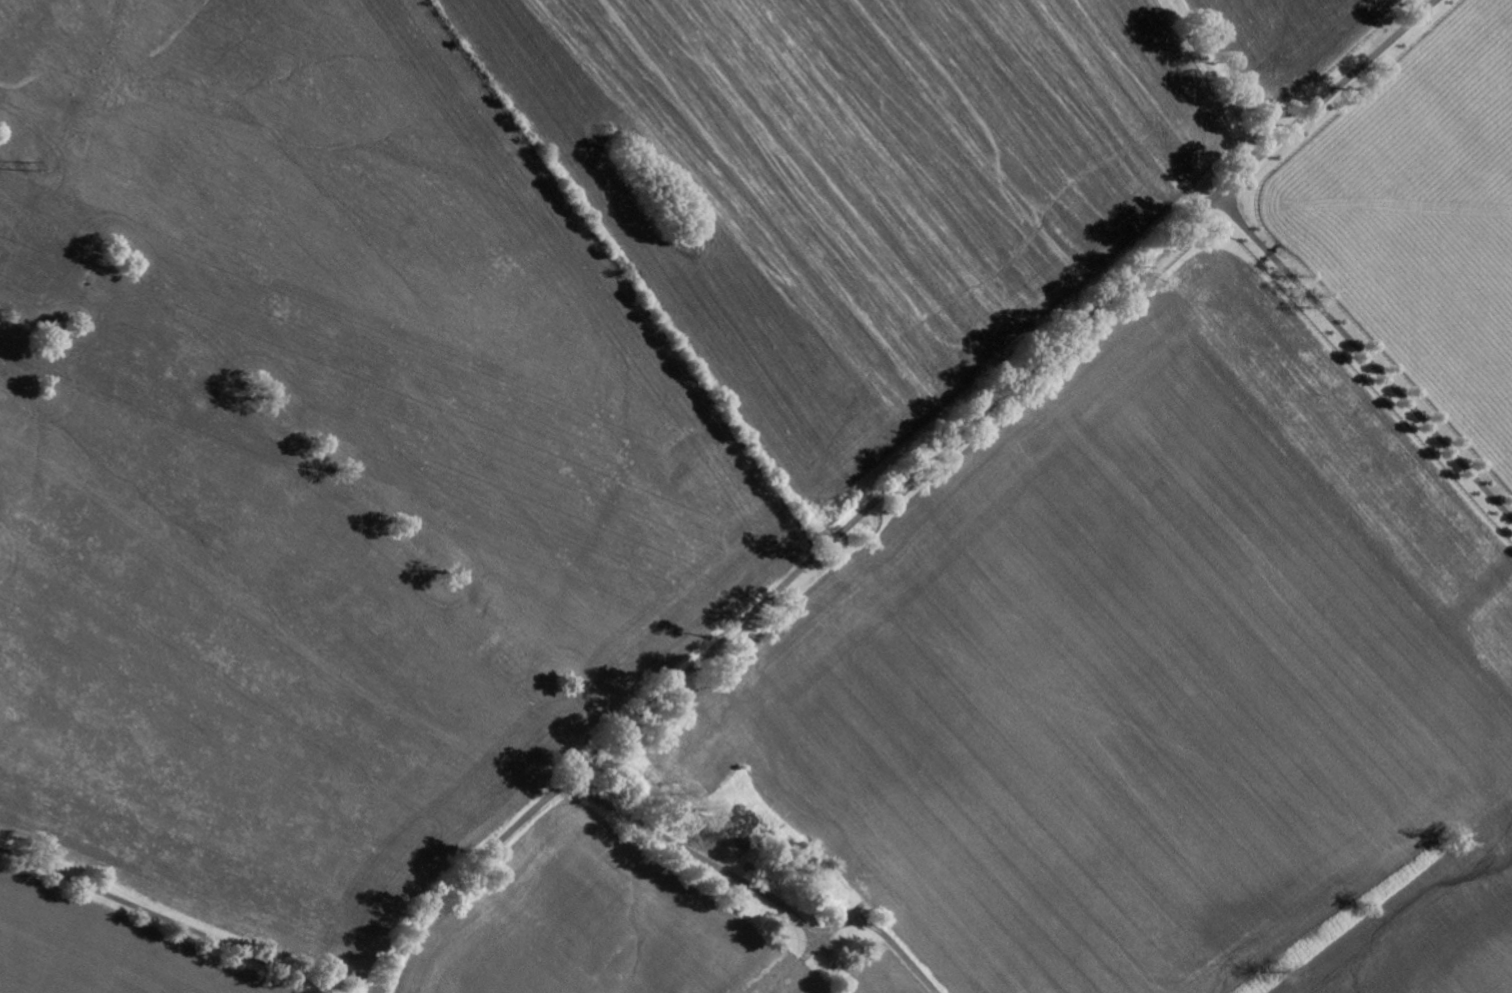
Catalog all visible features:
power tower: (27, 170)
road: (1129, 273)
road: (1366, 355)
road: (587, 760)
road: (760, 895)
road: (172, 919)

